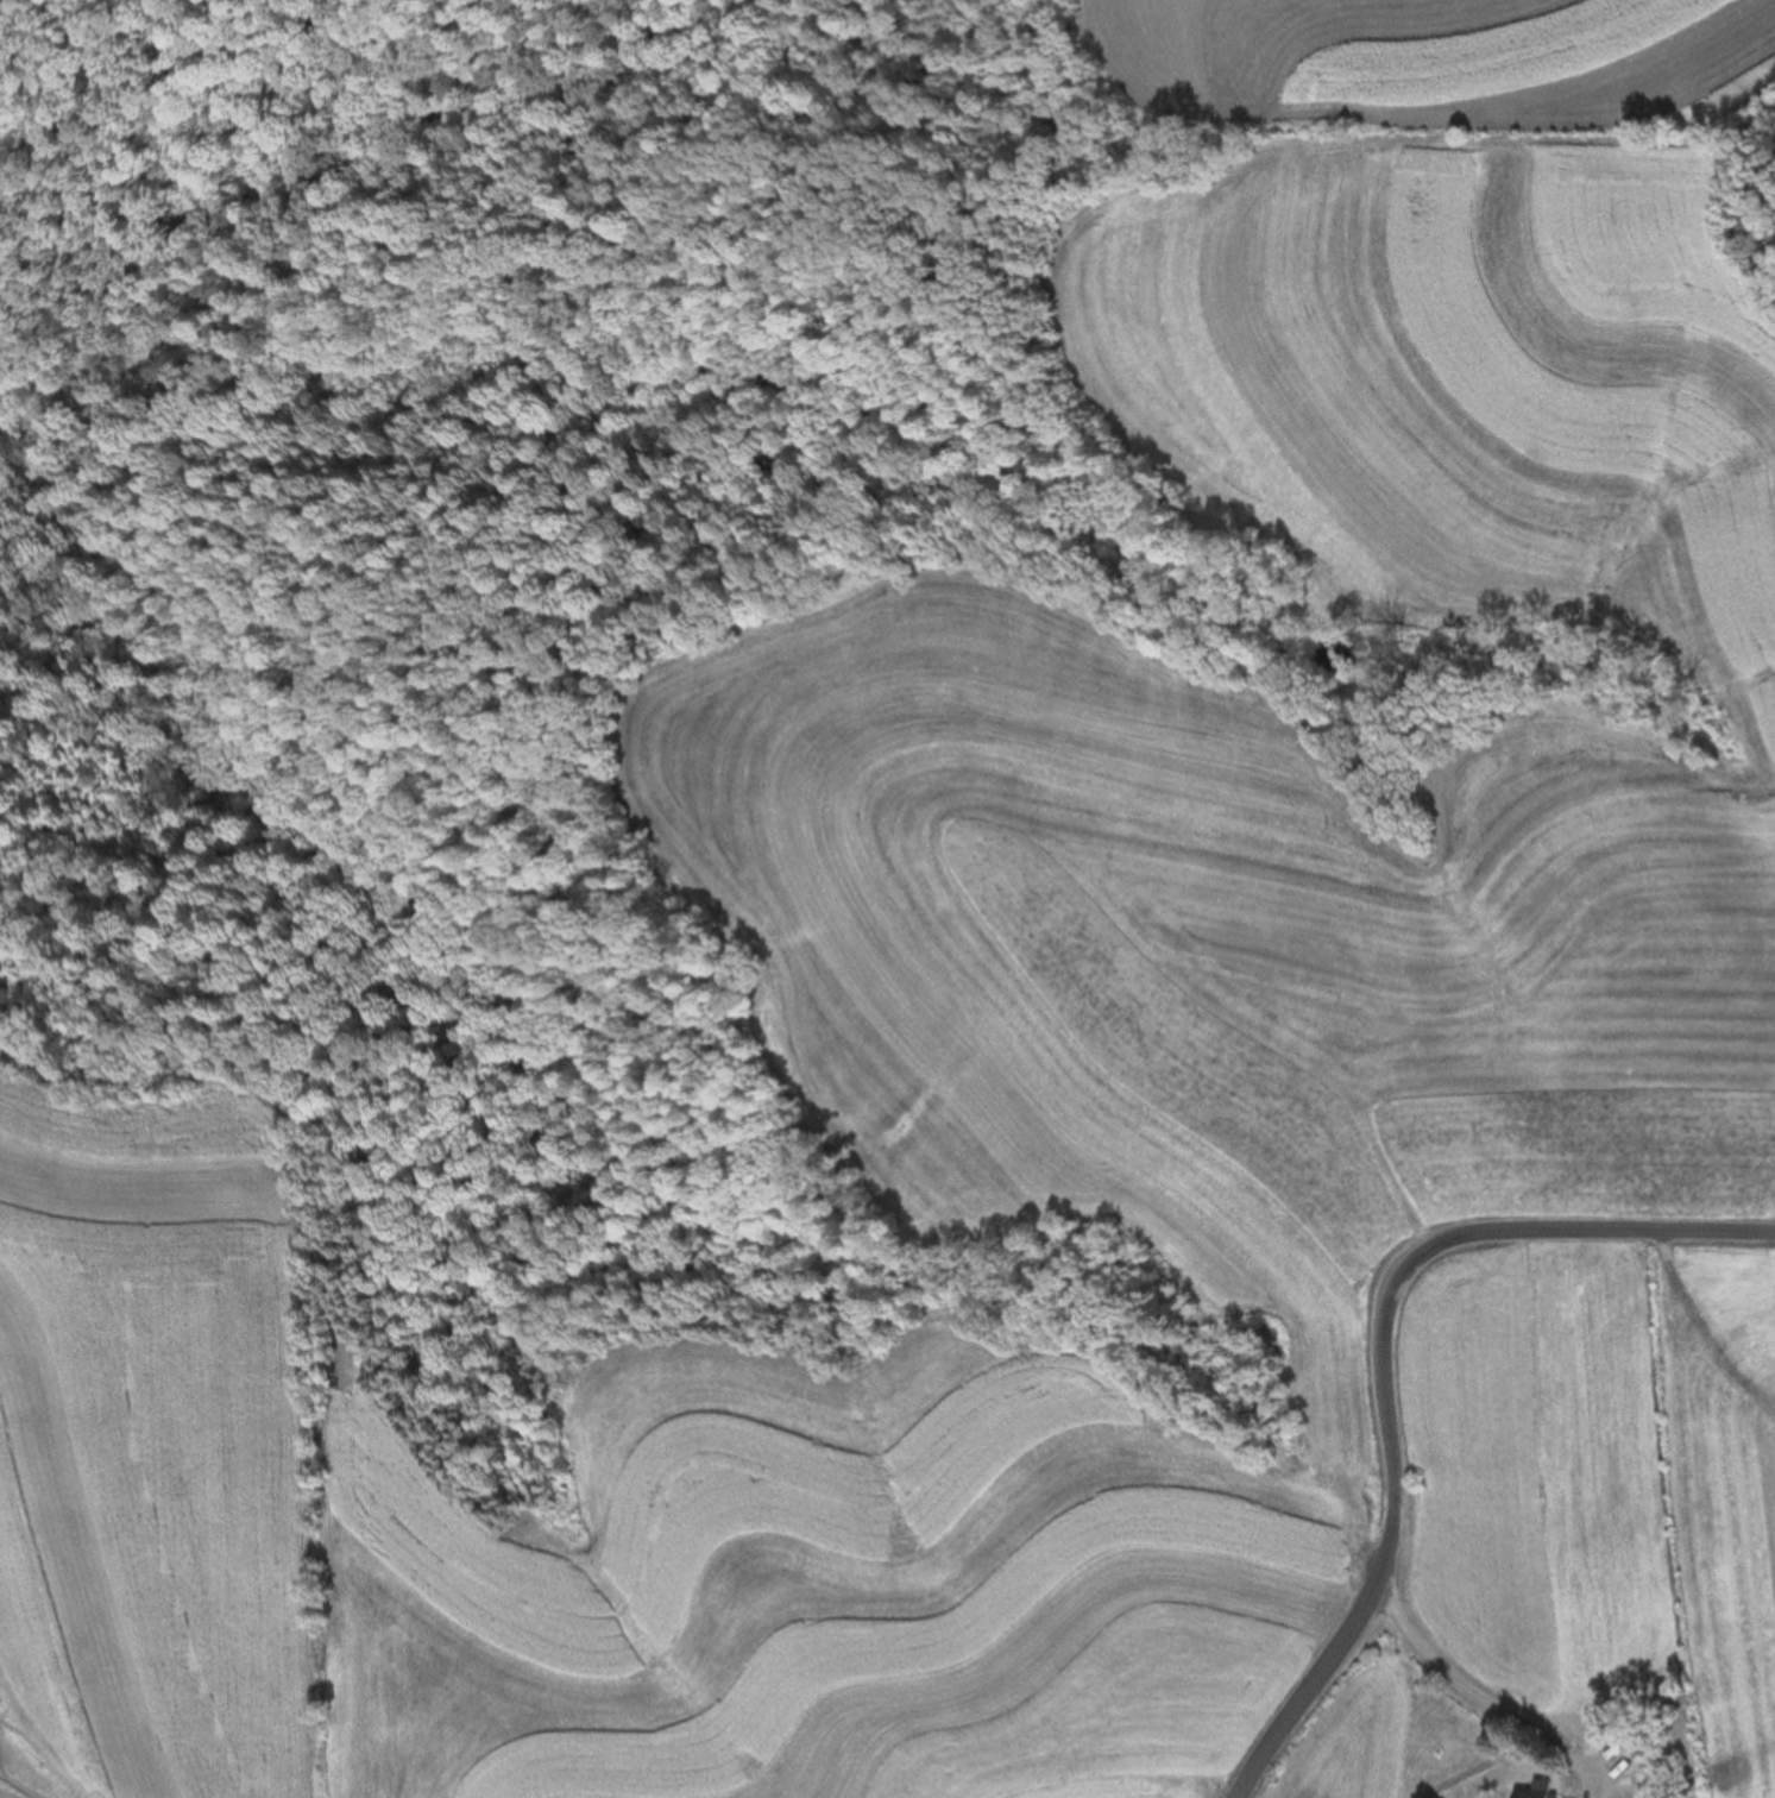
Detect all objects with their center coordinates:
road: (1386, 1363)
road: (1471, 1692)

